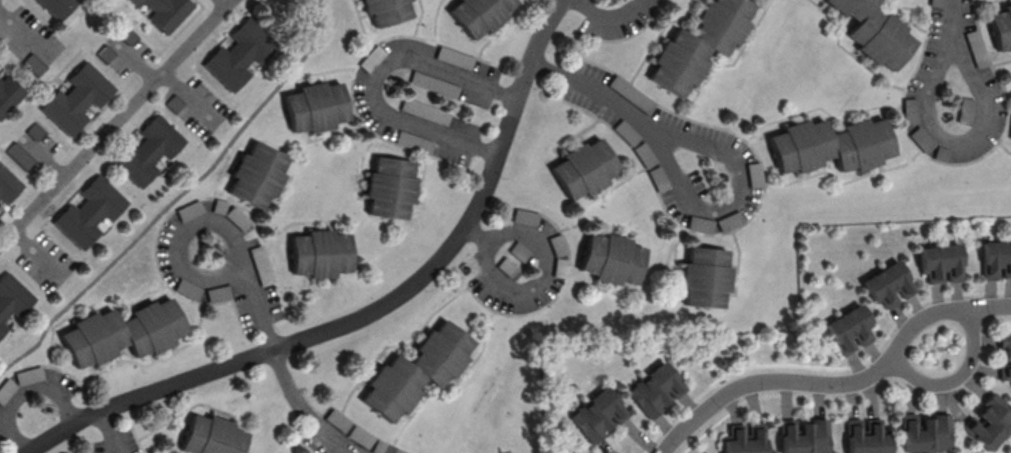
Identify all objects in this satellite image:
road: (223, 1)
building: (936, 2)
building: (54, 7)
building: (384, 11)
building: (162, 12)
building: (479, 15)
road: (950, 16)
road: (607, 22)
building: (1000, 29)
road: (19, 30)
building: (873, 32)
building: (698, 45)
building: (237, 56)
road: (323, 71)
road: (373, 75)
building: (434, 84)
road: (596, 94)
building: (8, 95)
road: (185, 95)
building: (74, 100)
building: (315, 109)
building: (965, 109)
road: (114, 123)
road: (958, 137)
building: (1010, 140)
building: (829, 147)
building: (146, 153)
building: (584, 168)
building: (756, 175)
building: (256, 177)
building: (7, 187)
building: (388, 191)
road: (175, 196)
road: (739, 199)
building: (88, 213)
building: (526, 216)
building: (238, 217)
road: (181, 236)
road: (477, 236)
road: (491, 246)
road: (35, 252)
building: (319, 256)
building: (610, 260)
building: (994, 260)
building: (938, 264)
building: (509, 267)
building: (704, 276)
building: (886, 285)
building: (188, 288)
building: (219, 292)
building: (12, 300)
road: (258, 305)
road: (370, 310)
building: (848, 329)
building: (121, 335)
building: (1004, 355)
building: (416, 373)
road: (958, 380)
road: (839, 385)
building: (653, 388)
road: (62, 398)
road: (303, 405)
road: (9, 412)
building: (596, 413)
building: (985, 429)
road: (109, 431)
building: (924, 432)
building: (802, 436)
building: (865, 436)
building: (210, 437)
building: (743, 438)

